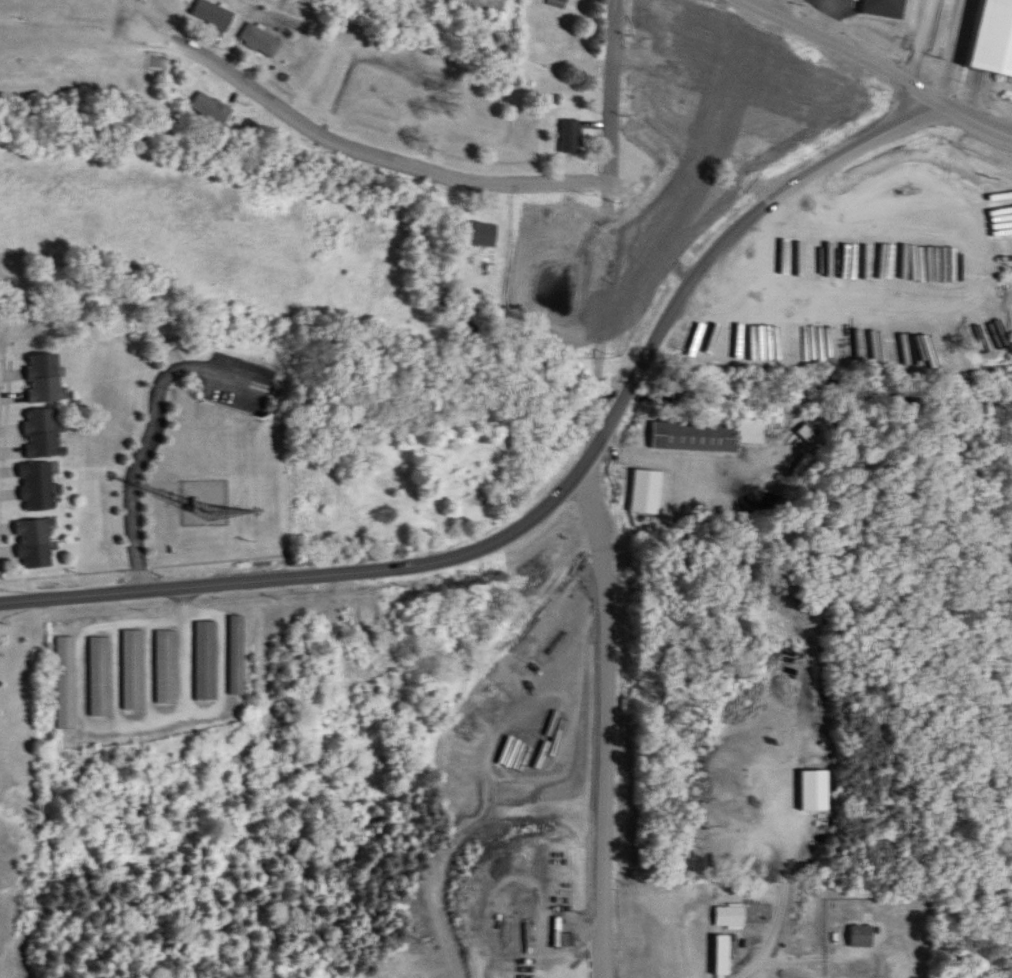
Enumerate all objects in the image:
building: (558, 3)
road: (773, 6)
building: (885, 9)
building: (214, 15)
road: (820, 17)
building: (985, 29)
building: (261, 41)
road: (842, 47)
road: (946, 47)
building: (136, 85)
road: (611, 91)
building: (641, 98)
building: (212, 109)
road: (973, 115)
building: (571, 137)
road: (354, 146)
road: (690, 181)
building: (480, 235)
building: (43, 379)
building: (750, 432)
building: (45, 434)
building: (693, 437)
road: (137, 449)
building: (452, 479)
building: (39, 488)
building: (645, 492)
road: (551, 494)
building: (36, 545)
road: (603, 579)
building: (236, 655)
building: (206, 661)
building: (166, 667)
building: (133, 670)
building: (100, 677)
building: (66, 683)
road: (103, 724)
building: (730, 917)
road: (770, 935)
building: (863, 937)
road: (812, 952)
building: (726, 954)

